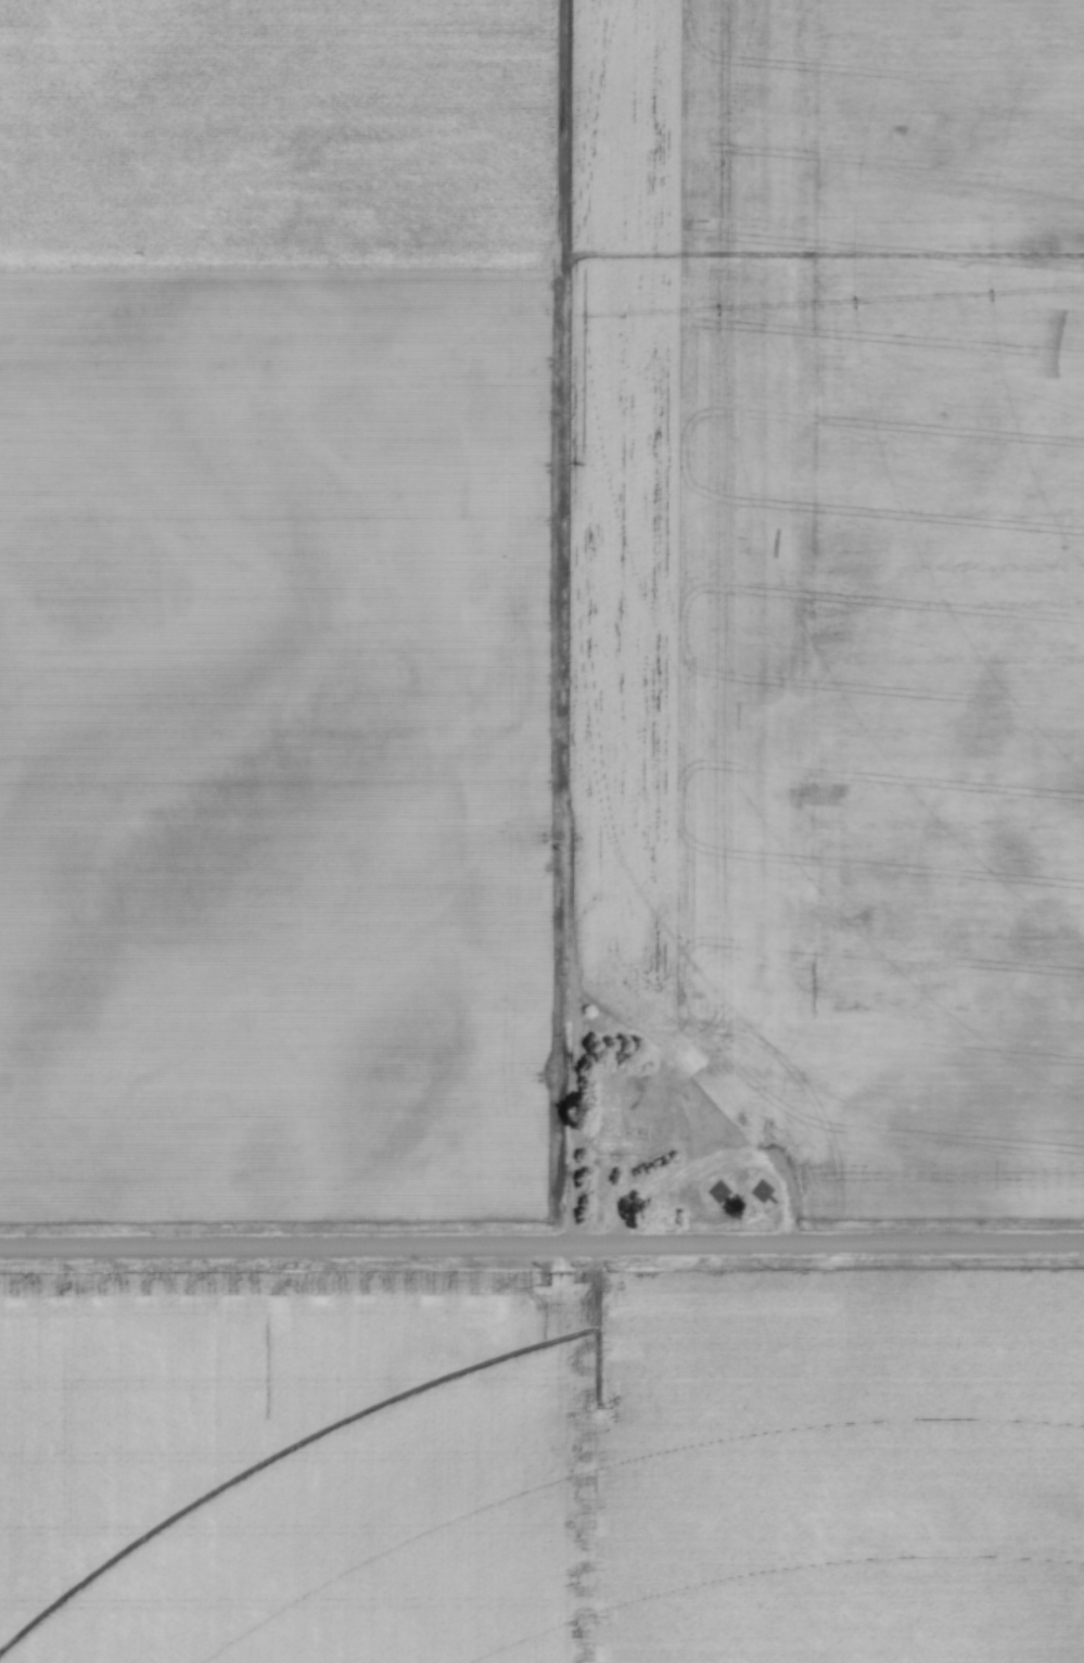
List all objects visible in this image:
crop: (278, 608)
building: (613, 1146)
building: (753, 1193)
building: (712, 1194)
road: (541, 1247)

